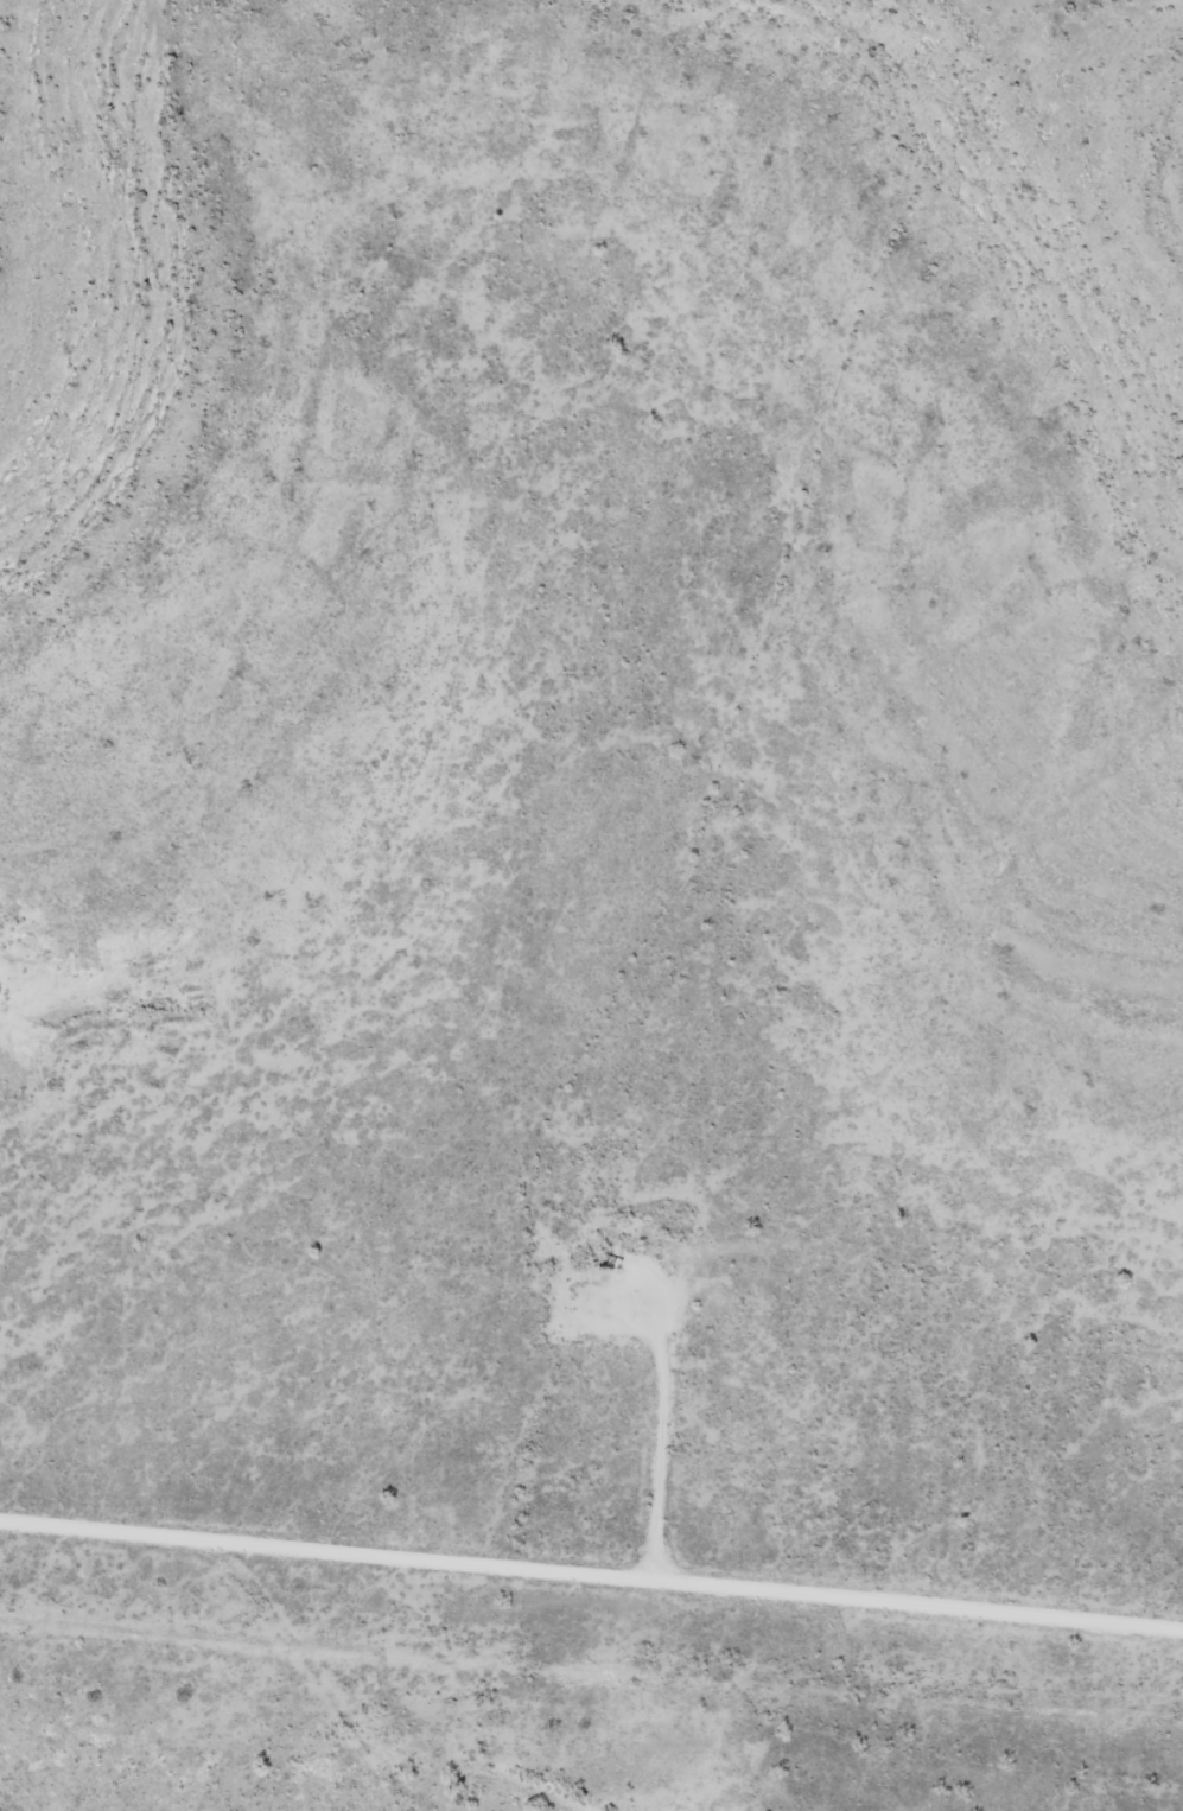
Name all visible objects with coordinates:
road: (691, 1450)
road: (590, 1574)

